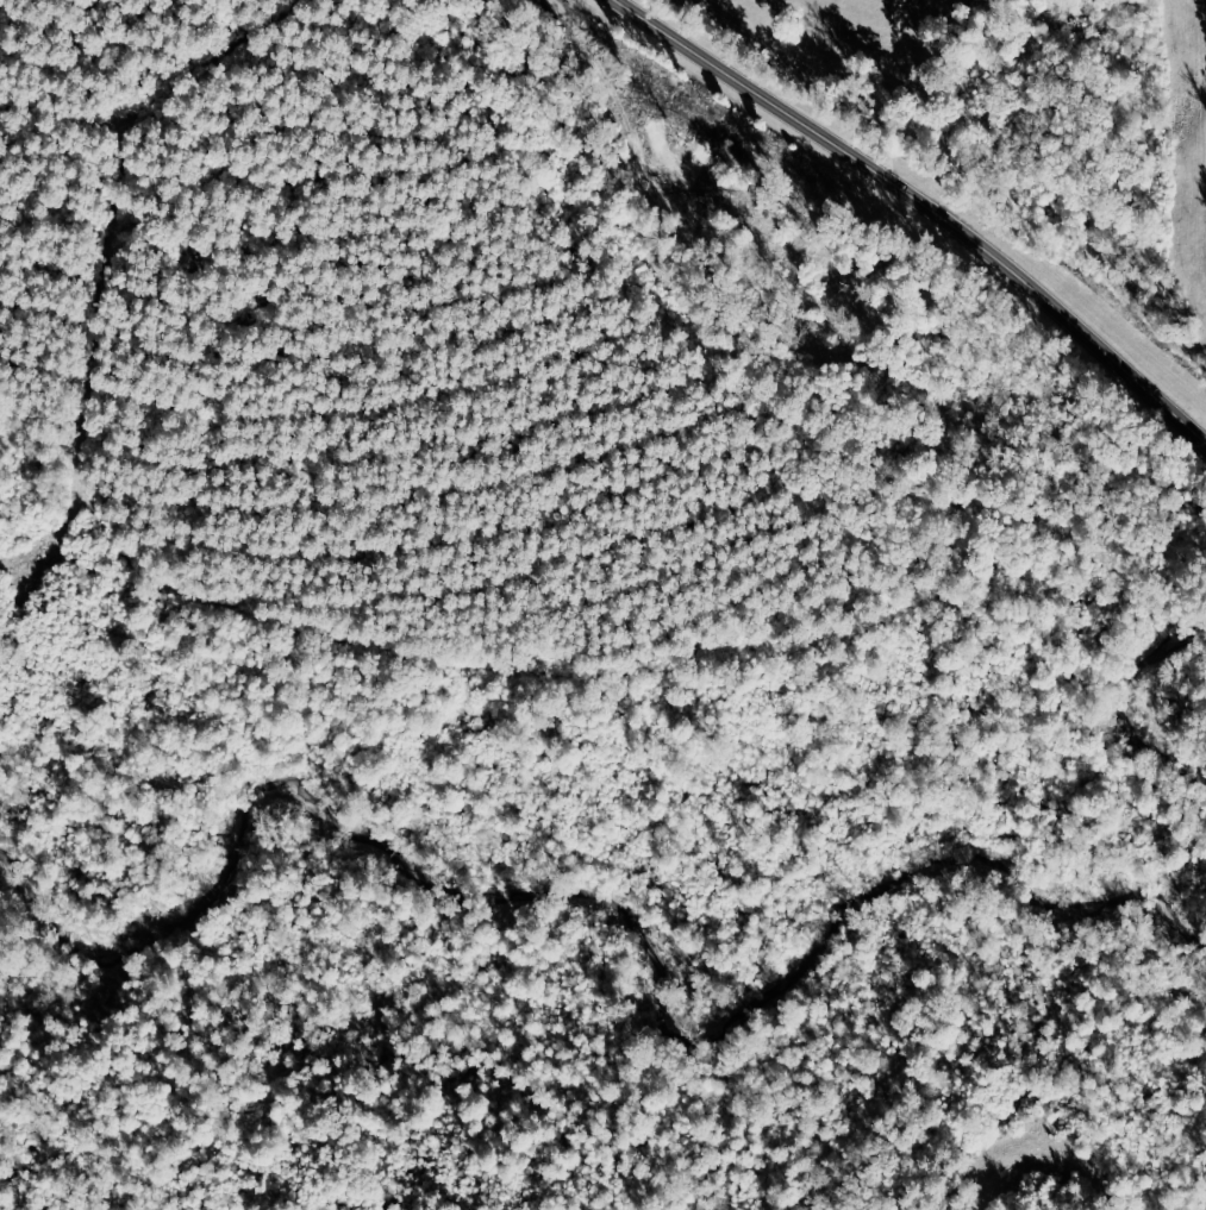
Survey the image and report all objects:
road: (920, 207)

